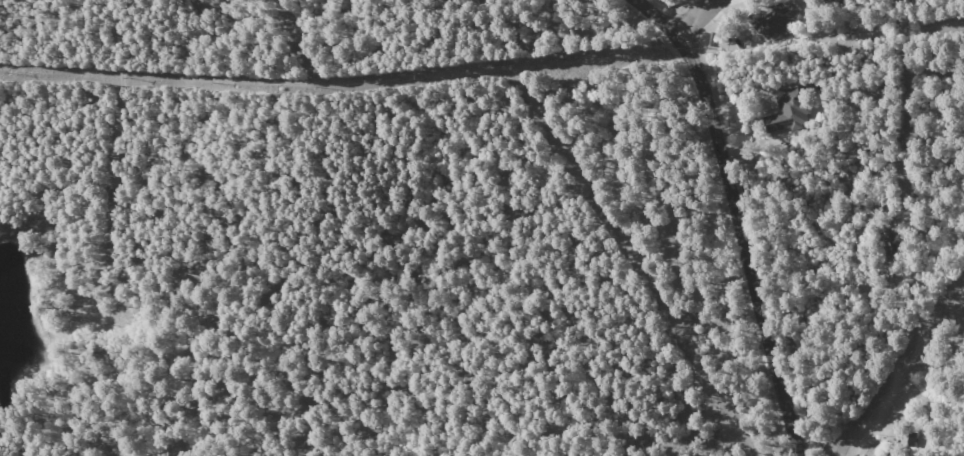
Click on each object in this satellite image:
road: (697, 17)
building: (778, 20)
building: (790, 109)
road: (739, 216)
building: (893, 454)

